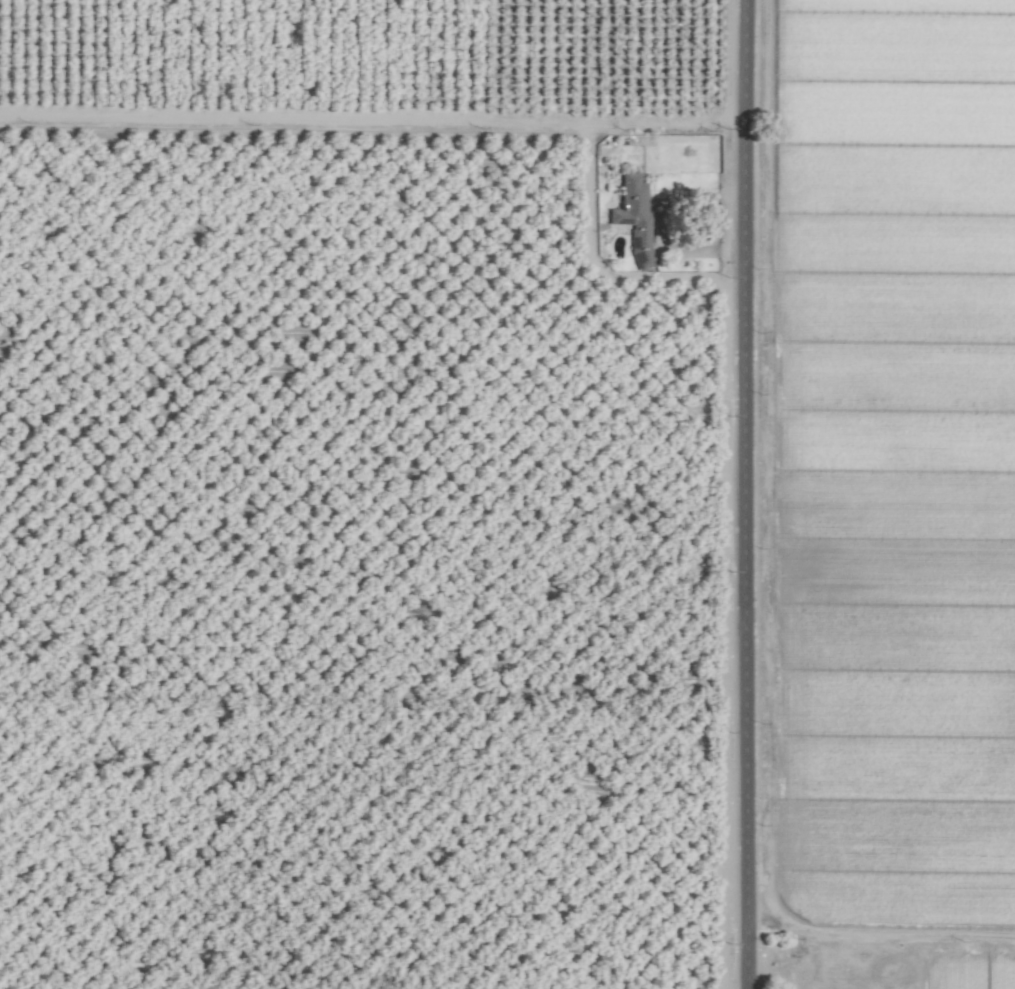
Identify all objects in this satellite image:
road: (743, 109)
building: (633, 219)
crop: (507, 494)
road: (747, 604)

